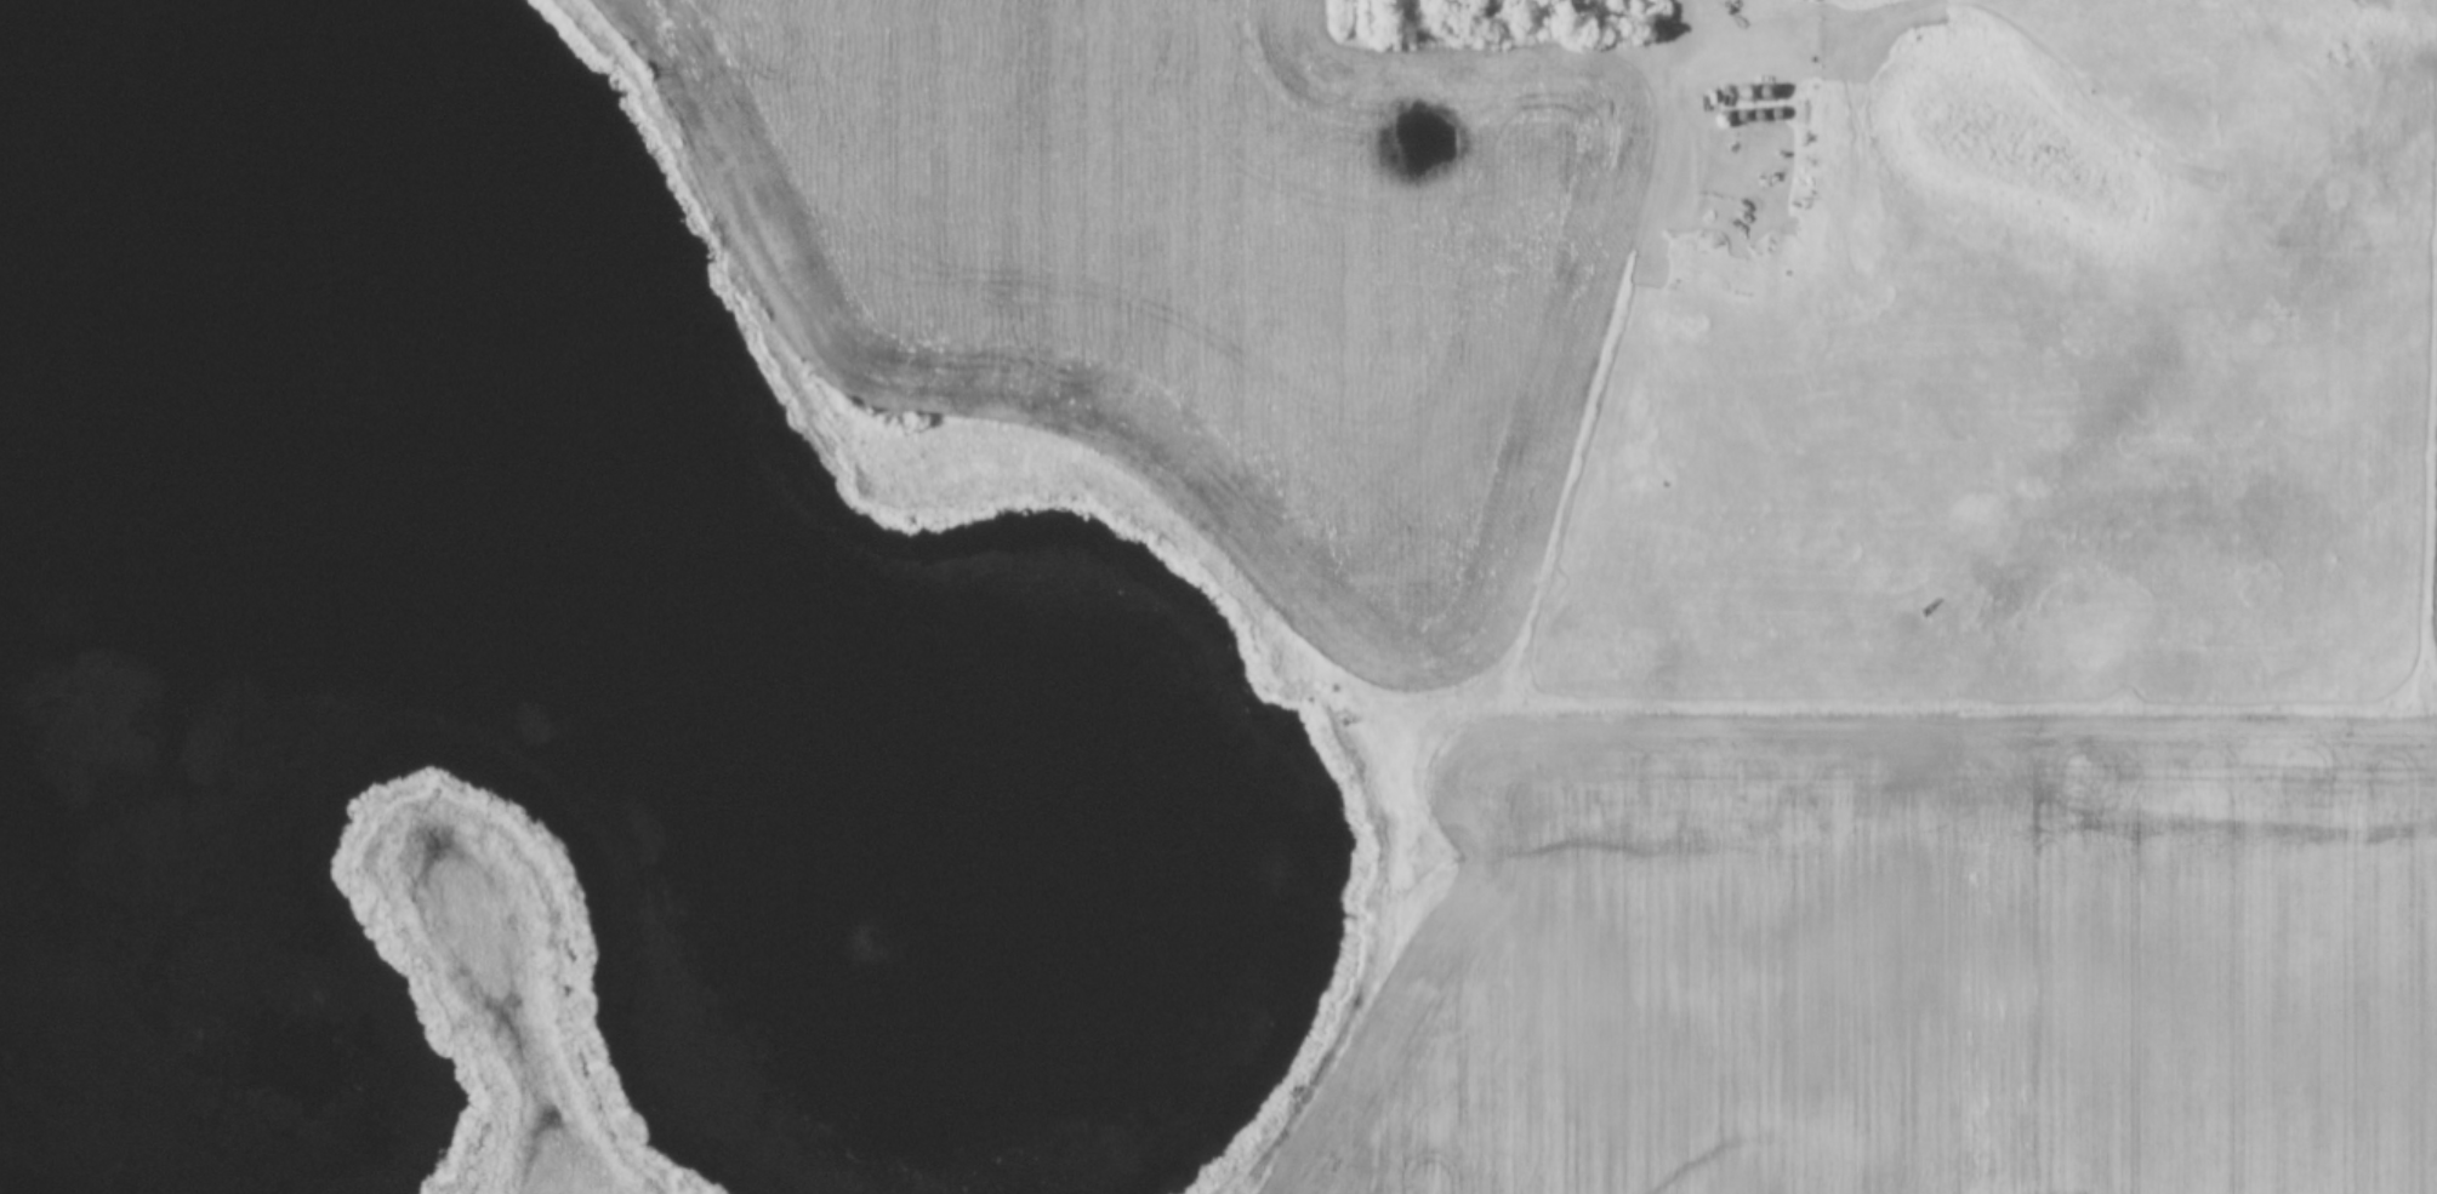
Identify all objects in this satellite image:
road: (1623, 353)

